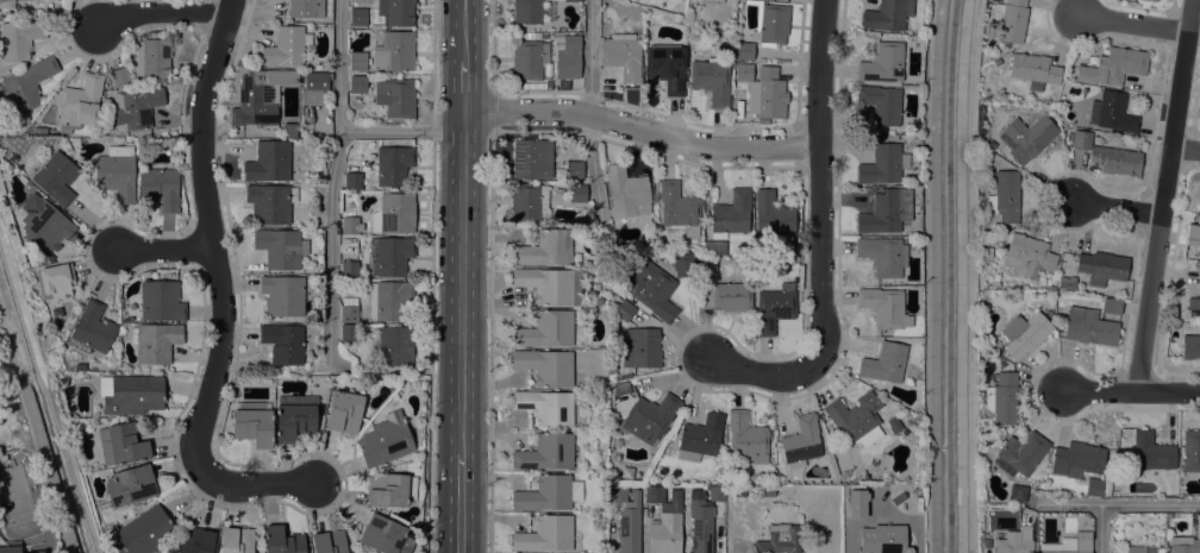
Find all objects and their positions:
building: (573, 0)
building: (713, 0)
building: (1152, 0)
building: (7, 5)
building: (306, 7)
building: (396, 11)
building: (527, 12)
road: (158, 13)
building: (887, 14)
building: (357, 17)
building: (1010, 20)
building: (771, 24)
road: (1135, 24)
road: (465, 30)
building: (532, 36)
building: (19, 38)
road: (494, 43)
building: (285, 46)
building: (744, 50)
building: (394, 51)
building: (621, 55)
building: (567, 56)
building: (152, 57)
road: (590, 57)
building: (529, 59)
building: (357, 61)
building: (996, 61)
building: (882, 63)
building: (665, 67)
building: (1113, 67)
building: (1033, 70)
building: (743, 73)
building: (120, 77)
building: (712, 81)
building: (358, 83)
building: (26, 84)
building: (533, 84)
building: (563, 84)
road: (464, 86)
building: (315, 88)
building: (768, 95)
building: (260, 96)
building: (395, 96)
building: (80, 103)
building: (881, 103)
building: (137, 107)
building: (1111, 112)
road: (642, 128)
building: (289, 130)
building: (37, 131)
road: (401, 131)
building: (1025, 138)
building: (164, 144)
road: (1186, 147)
building: (1107, 155)
building: (532, 158)
building: (269, 162)
building: (882, 164)
building: (390, 166)
building: (574, 169)
road: (592, 170)
building: (117, 172)
building: (56, 177)
road: (819, 177)
road: (331, 178)
building: (352, 181)
building: (160, 188)
building: (577, 193)
building: (626, 193)
building: (1004, 196)
road: (1164, 196)
building: (270, 202)
building: (529, 202)
building: (679, 208)
road: (1117, 208)
building: (886, 210)
building: (394, 213)
building: (731, 214)
building: (773, 216)
building: (44, 225)
building: (350, 225)
building: (1193, 231)
building: (713, 246)
building: (280, 247)
road: (165, 249)
building: (545, 249)
building: (393, 256)
building: (882, 256)
building: (1025, 256)
building: (682, 264)
building: (1101, 266)
building: (349, 269)
building: (707, 269)
building: (601, 272)
road: (431, 276)
road: (970, 276)
building: (1199, 276)
building: (54, 279)
building: (1065, 282)
road: (463, 283)
building: (550, 284)
road: (227, 291)
building: (654, 291)
building: (285, 294)
building: (732, 296)
building: (161, 300)
building: (388, 300)
building: (882, 306)
building: (1111, 306)
building: (1193, 307)
building: (774, 308)
building: (349, 309)
building: (624, 309)
building: (982, 313)
building: (1049, 313)
building: (1089, 327)
building: (92, 328)
building: (545, 329)
building: (349, 332)
building: (1024, 334)
road: (8, 340)
building: (155, 341)
road: (490, 341)
building: (283, 343)
building: (393, 345)
building: (645, 347)
building: (1190, 347)
building: (885, 363)
building: (545, 365)
road: (763, 372)
building: (620, 388)
road: (1131, 391)
building: (130, 394)
building: (1001, 397)
building: (546, 407)
building: (344, 411)
building: (294, 417)
building: (650, 417)
building: (854, 421)
building: (252, 422)
building: (894, 425)
building: (671, 435)
building: (746, 436)
building: (700, 438)
building: (385, 440)
building: (618, 442)
building: (801, 442)
building: (121, 444)
building: (1190, 451)
building: (545, 452)
building: (1020, 453)
building: (1152, 453)
building: (1076, 459)
road: (45, 461)
building: (1110, 461)
road: (74, 469)
building: (129, 484)
building: (1094, 486)
building: (389, 489)
building: (618, 492)
building: (738, 492)
building: (769, 492)
building: (1017, 492)
building: (548, 494)
park: (20, 497)
building: (856, 501)
road: (461, 503)
road: (1119, 503)
building: (383, 511)
building: (704, 517)
building: (664, 520)
building: (1196, 524)
building: (630, 526)
road: (1100, 528)
building: (144, 530)
building: (1158, 533)
building: (545, 534)
building: (385, 535)
building: (779, 539)
building: (882, 539)
building: (195, 540)
building: (236, 540)
building: (282, 540)
building: (329, 541)
building: (1015, 542)
building: (1070, 543)
building: (1185, 545)
building: (10, 549)
building: (1144, 549)
building: (35, 552)

